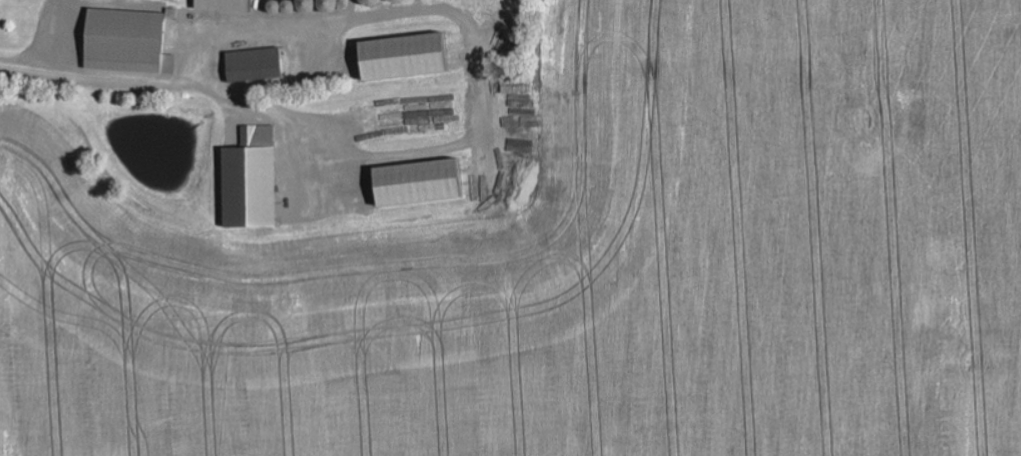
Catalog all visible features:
building: (222, 5)
building: (124, 43)
building: (400, 58)
building: (252, 65)
building: (415, 184)

